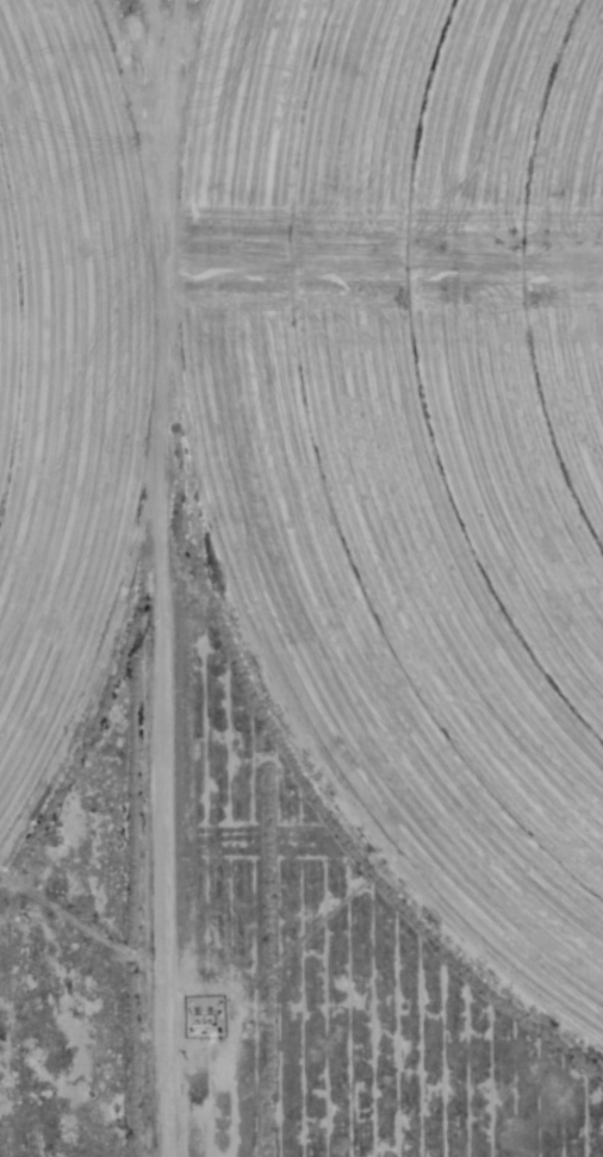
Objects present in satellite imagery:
crop: (332, 425)
road: (91, 578)

